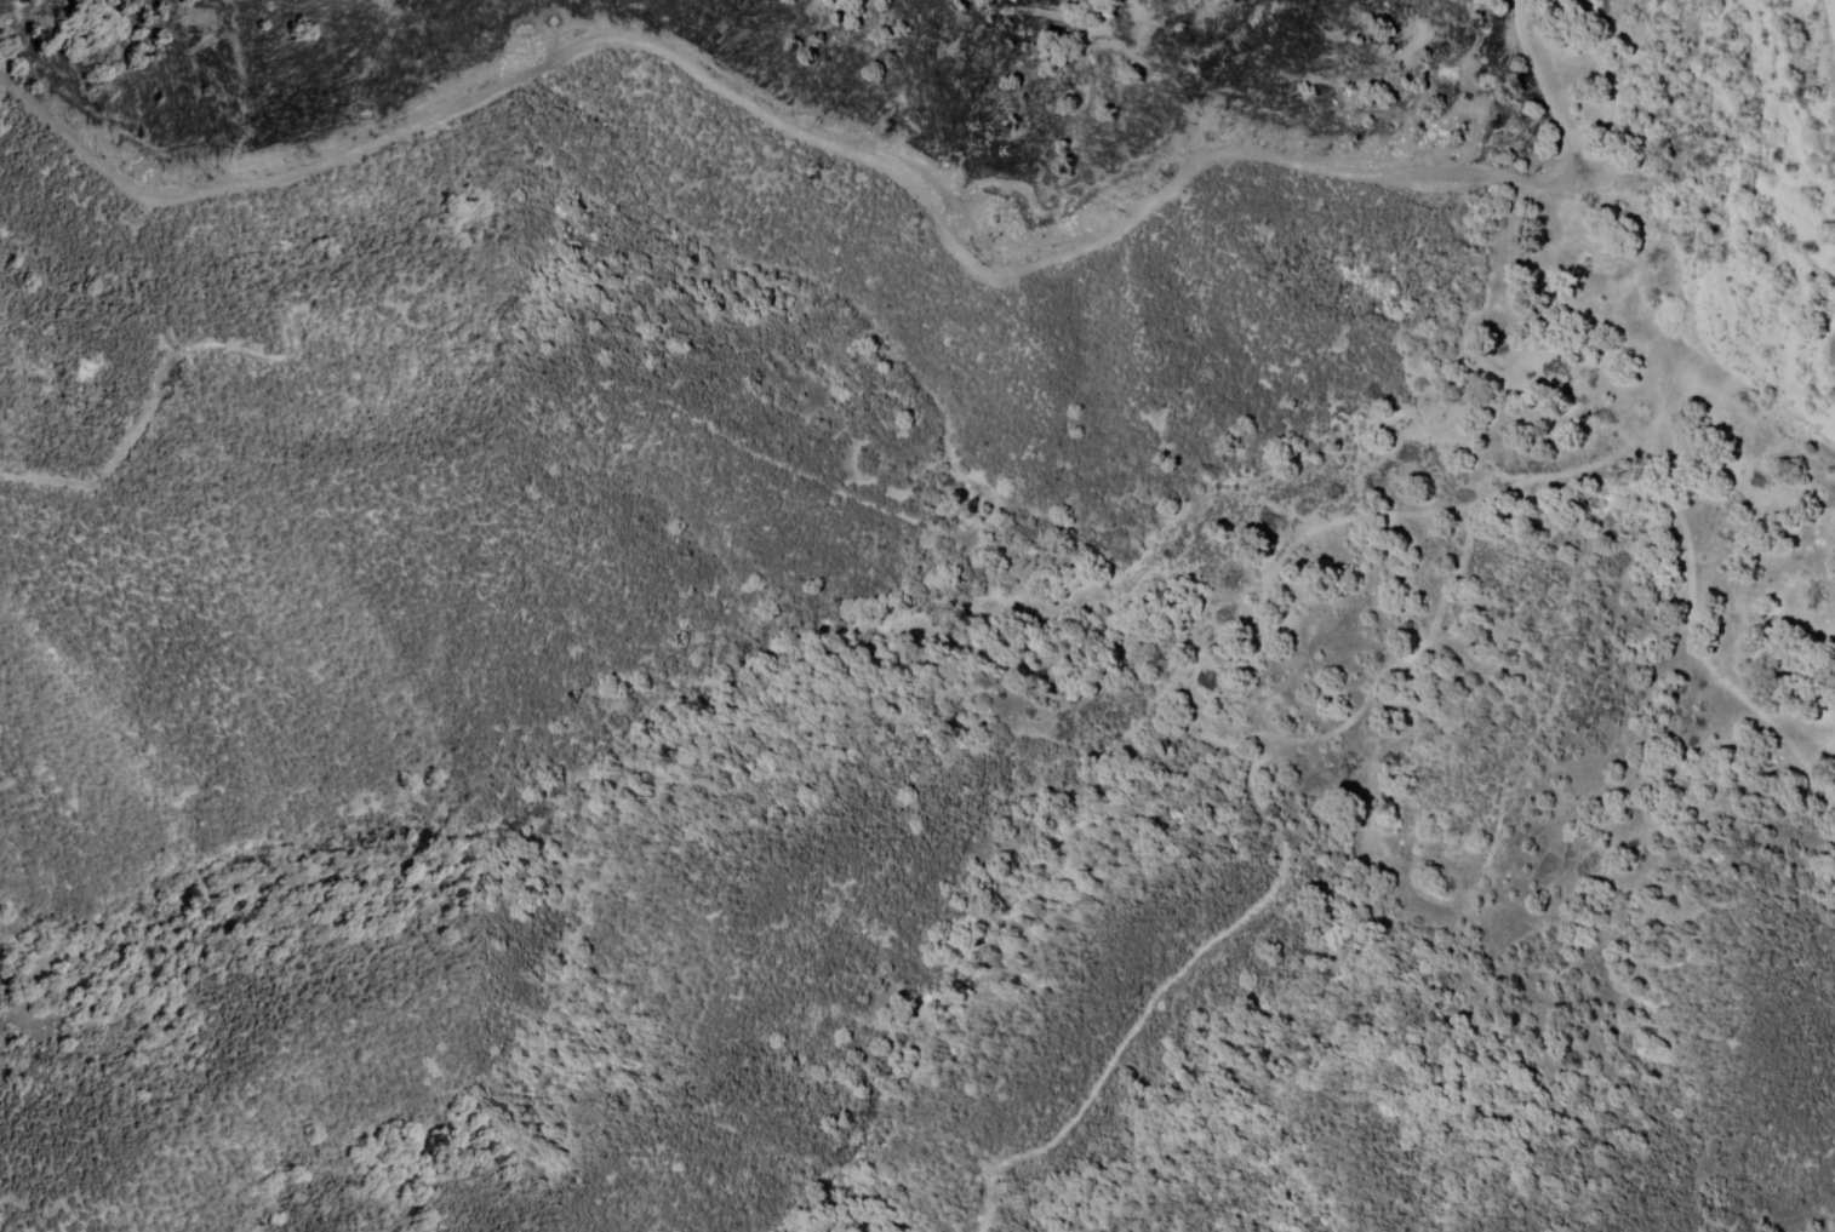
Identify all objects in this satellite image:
road: (1830, 18)
road: (1616, 411)

